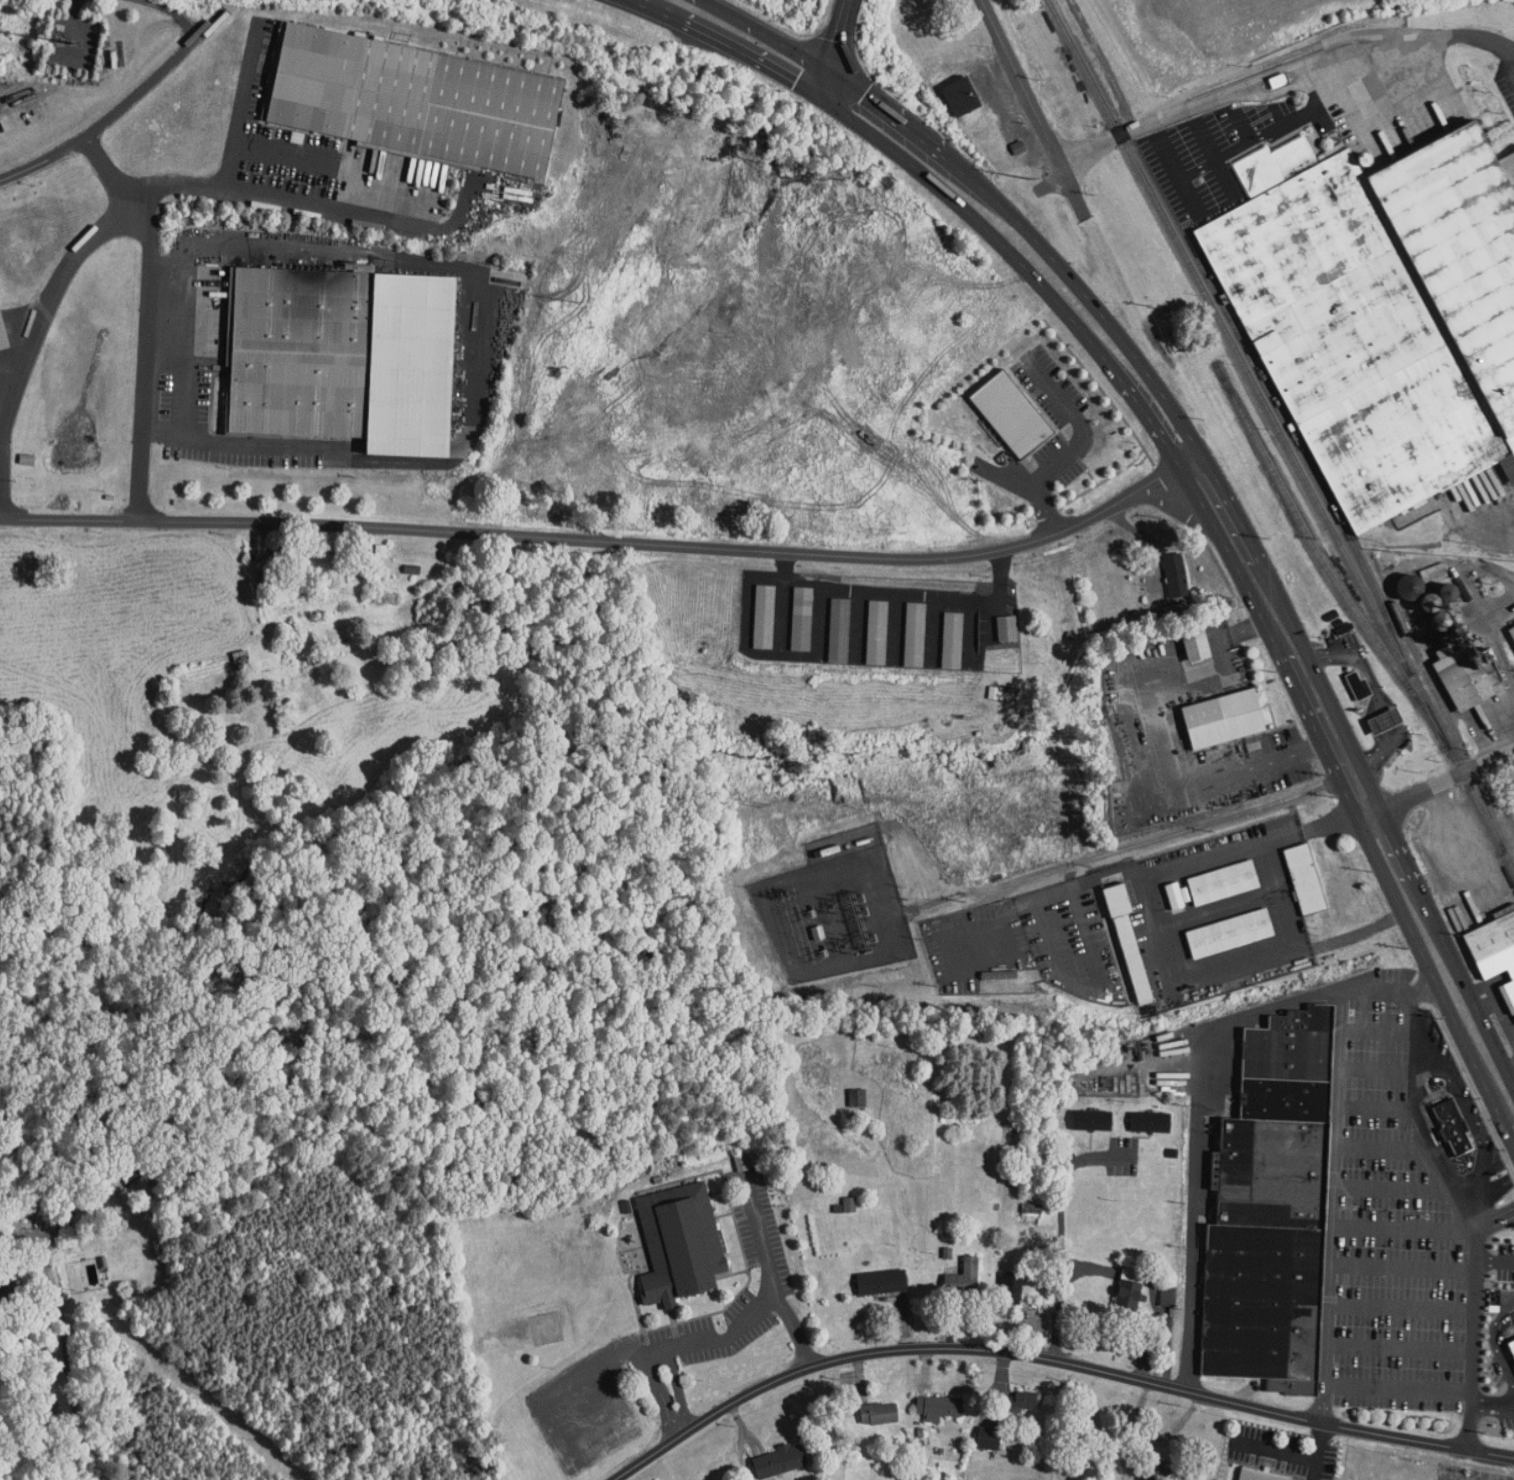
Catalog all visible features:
road: (650, 5)
road: (762, 34)
road: (1420, 34)
road: (834, 47)
road: (742, 51)
road: (1507, 53)
building: (961, 97)
building: (415, 102)
road: (126, 104)
road: (242, 105)
road: (1192, 106)
road: (1035, 108)
building: (1260, 169)
road: (279, 197)
road: (1037, 242)
road: (72, 264)
road: (1020, 265)
building: (3, 335)
road: (146, 354)
road: (481, 356)
building: (343, 358)
building: (1013, 415)
road: (1, 421)
railway: (1281, 434)
road: (1073, 445)
road: (605, 542)
building: (314, 563)
building: (1177, 575)
building: (765, 617)
building: (803, 619)
building: (1008, 629)
building: (840, 630)
building: (1512, 632)
building: (878, 633)
building: (916, 635)
road: (1283, 638)
building: (953, 641)
building: (1197, 646)
building: (243, 661)
building: (1468, 680)
building: (1359, 686)
building: (1265, 708)
building: (1224, 719)
building: (1385, 722)
road: (1440, 780)
road: (1075, 863)
building: (1306, 879)
building: (1224, 883)
building: (1176, 896)
road: (1281, 901)
building: (1231, 934)
building: (1130, 943)
road: (1449, 946)
building: (1495, 952)
road: (1432, 987)
road: (1376, 1029)
road: (1374, 1067)
road: (1426, 1075)
building: (858, 1099)
road: (1375, 1105)
road: (1198, 1109)
building: (1093, 1121)
building: (1152, 1123)
road: (1417, 1126)
building: (1454, 1128)
road: (1379, 1147)
road: (1390, 1186)
road: (1482, 1202)
building: (850, 1205)
road: (1333, 1207)
building: (1272, 1210)
road: (1407, 1228)
road: (1062, 1231)
road: (763, 1243)
building: (681, 1244)
road: (1497, 1260)
road: (1405, 1265)
building: (964, 1280)
building: (882, 1282)
building: (1012, 1289)
building: (1130, 1291)
road: (1404, 1305)
road: (750, 1319)
road: (1477, 1337)
road: (1494, 1341)
road: (1402, 1344)
building: (1512, 1346)
road: (67, 1366)
road: (1144, 1380)
road: (678, 1384)
road: (1400, 1386)
road: (661, 1391)
building: (1015, 1402)
building: (940, 1407)
road: (1495, 1408)
building: (880, 1413)
road: (686, 1424)
road: (693, 1427)
building: (990, 1438)
building: (780, 1461)
building: (1260, 1475)

